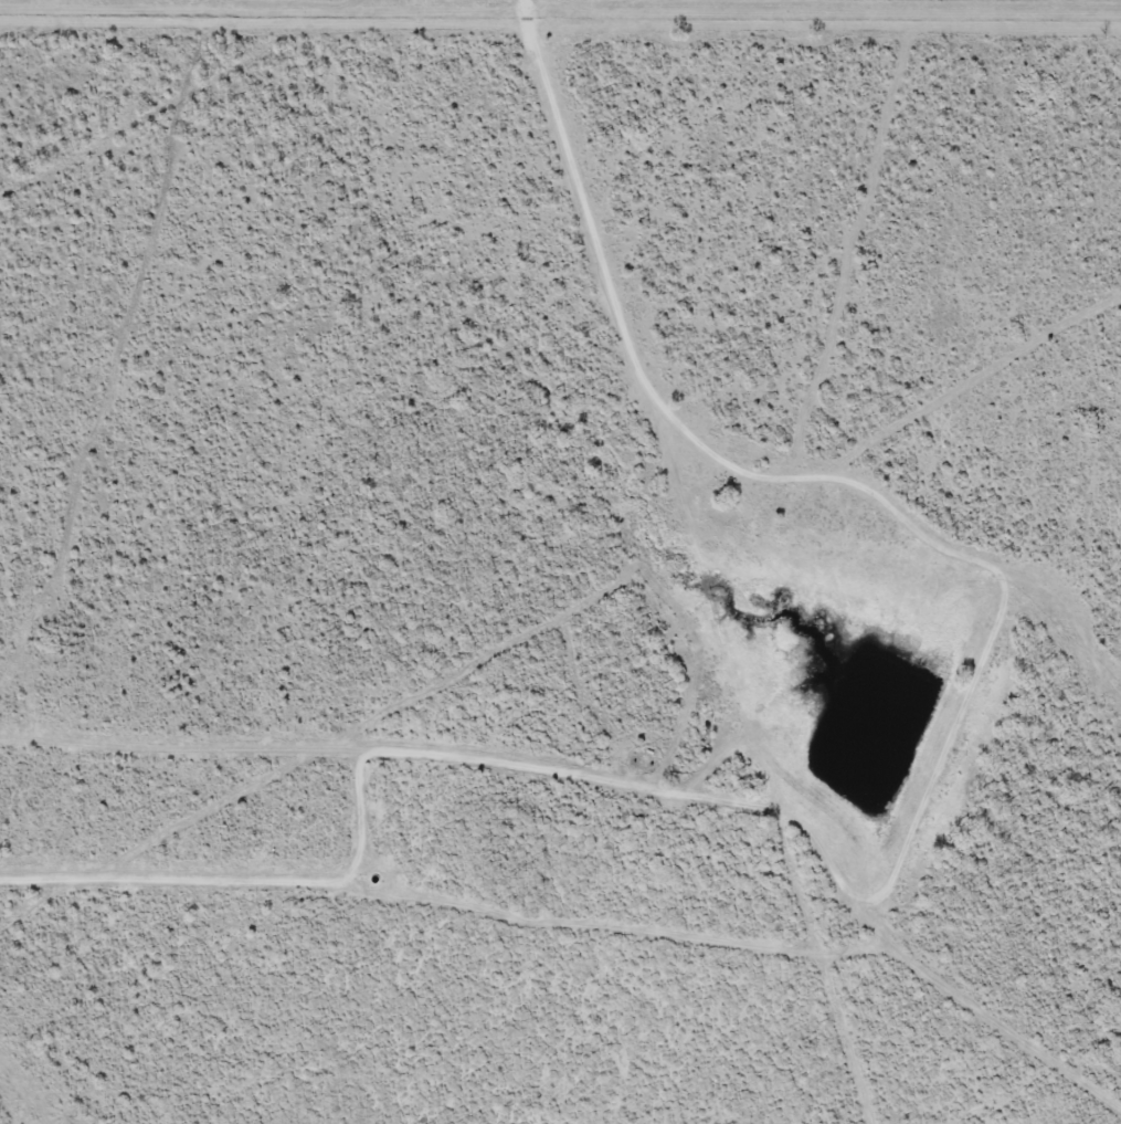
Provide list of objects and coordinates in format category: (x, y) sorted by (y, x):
road: (908, 844)

